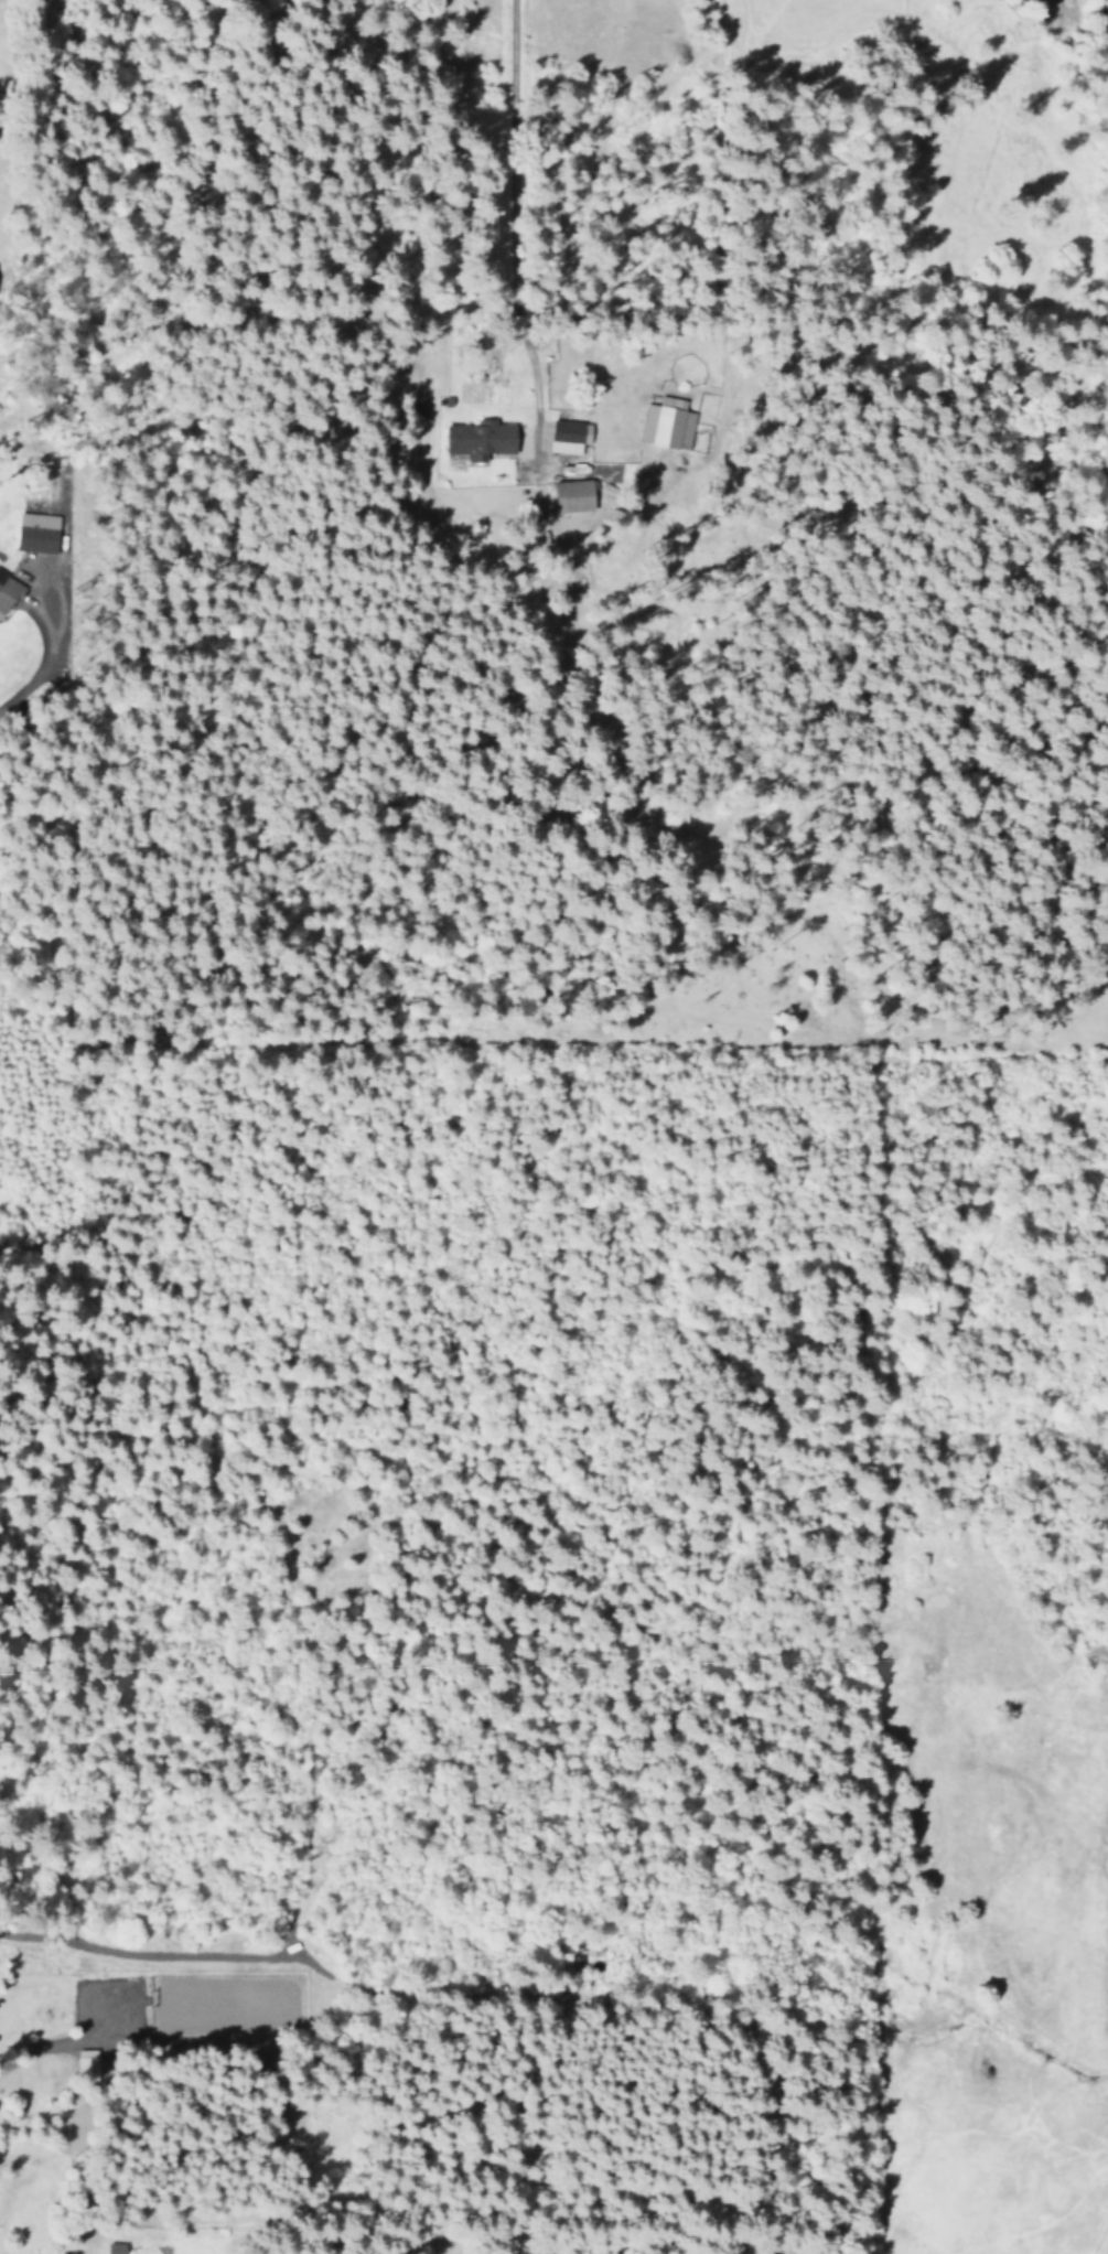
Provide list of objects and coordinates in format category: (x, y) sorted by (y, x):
road: (502, 206)
building: (668, 422)
building: (568, 437)
building: (483, 438)
building: (575, 495)
building: (39, 532)
building: (9, 591)
road: (42, 611)
building: (87, 2061)
road: (1102, 2244)
building: (116, 2248)
road: (78, 2250)

